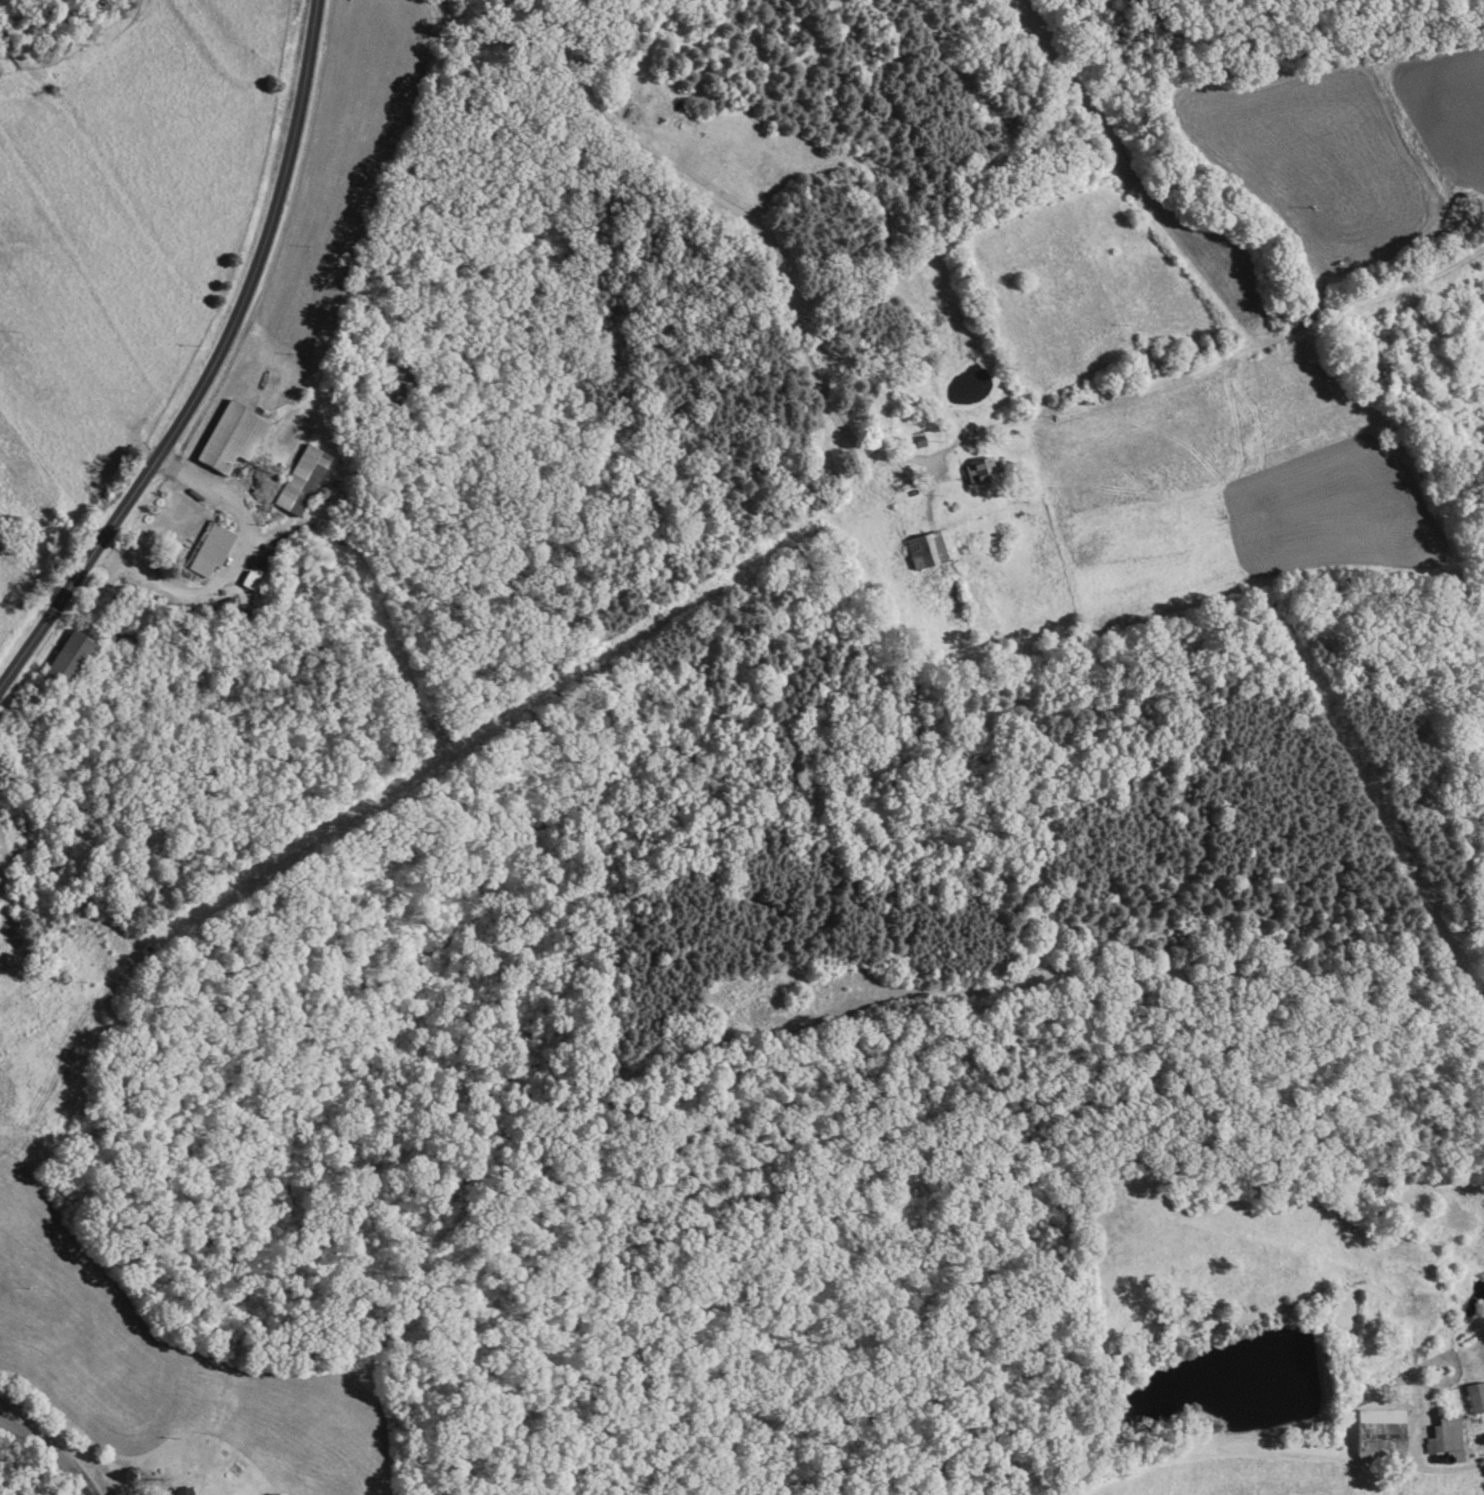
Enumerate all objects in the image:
road: (744, 220)
road: (211, 363)
building: (398, 382)
building: (234, 439)
building: (985, 473)
building: (263, 481)
building: (305, 482)
building: (930, 551)
building: (212, 552)
building: (72, 659)
building: (1476, 1399)
building: (1451, 1432)
road: (58, 1439)
building: (1362, 1442)
road: (1429, 1472)
building: (187, 1492)

